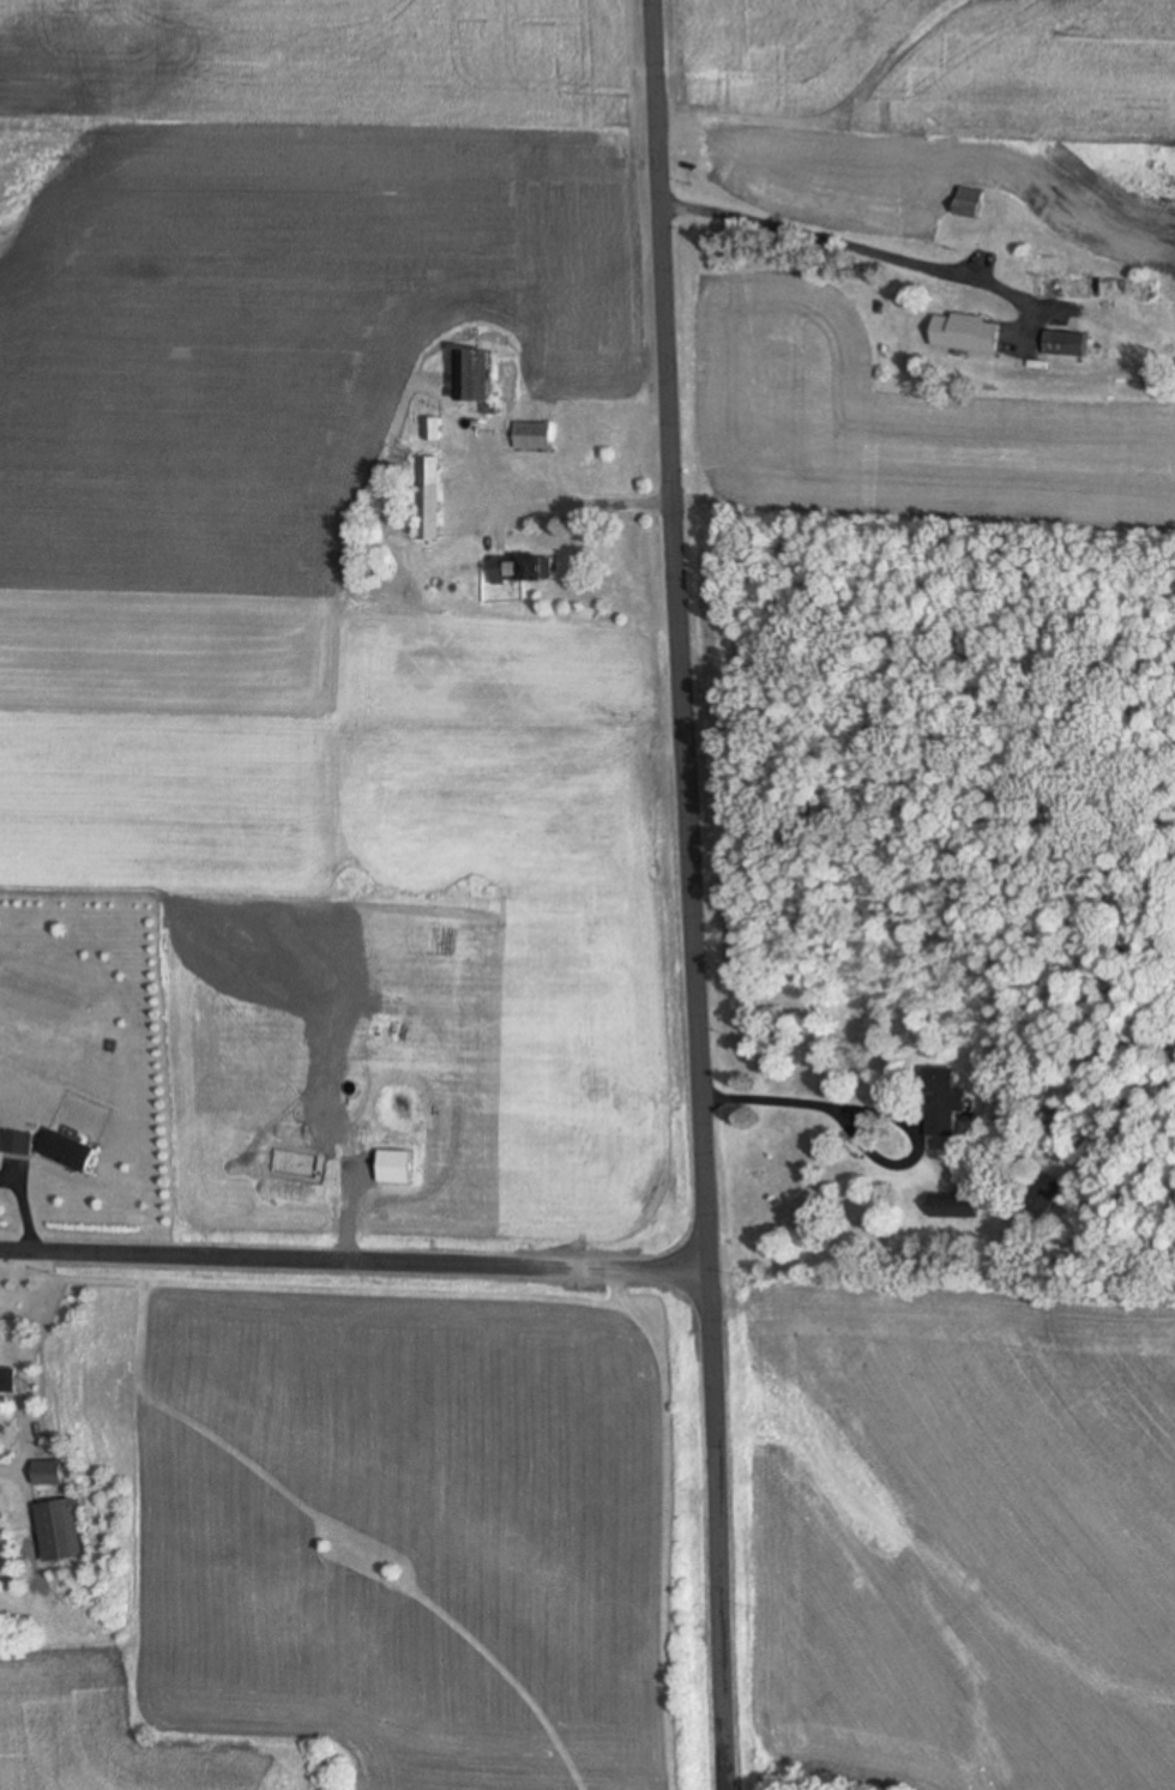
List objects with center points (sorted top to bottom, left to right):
building: (972, 197)
building: (1095, 290)
building: (954, 330)
building: (1068, 345)
building: (1026, 354)
building: (474, 378)
building: (434, 430)
building: (556, 446)
building: (430, 500)
road: (582, 502)
building: (525, 572)
road: (691, 894)
road: (773, 1098)
building: (944, 1102)
building: (17, 1140)
building: (66, 1149)
building: (1044, 1197)
building: (953, 1210)
road: (352, 1258)
building: (8, 1380)
road: (11, 1472)
building: (48, 1473)
building: (60, 1531)

